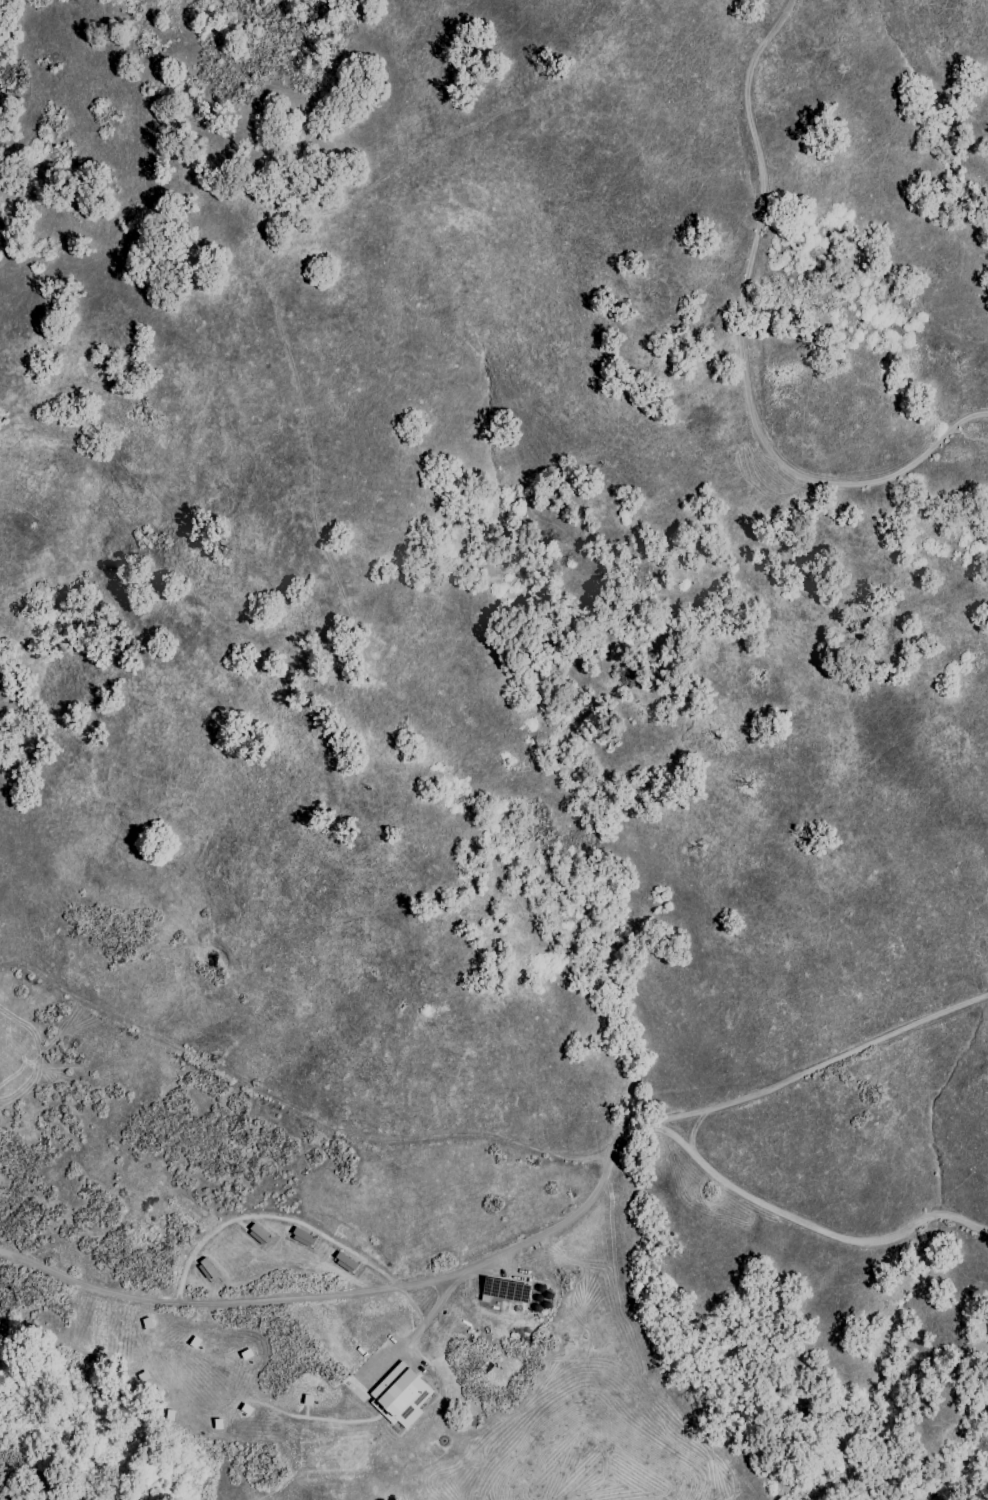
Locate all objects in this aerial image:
road: (279, 291)
road: (740, 343)
building: (366, 789)
road: (830, 1069)
road: (667, 1130)
building: (256, 1237)
building: (299, 1239)
building: (341, 1264)
building: (204, 1272)
building: (501, 1292)
road: (215, 1307)
building: (402, 1395)

